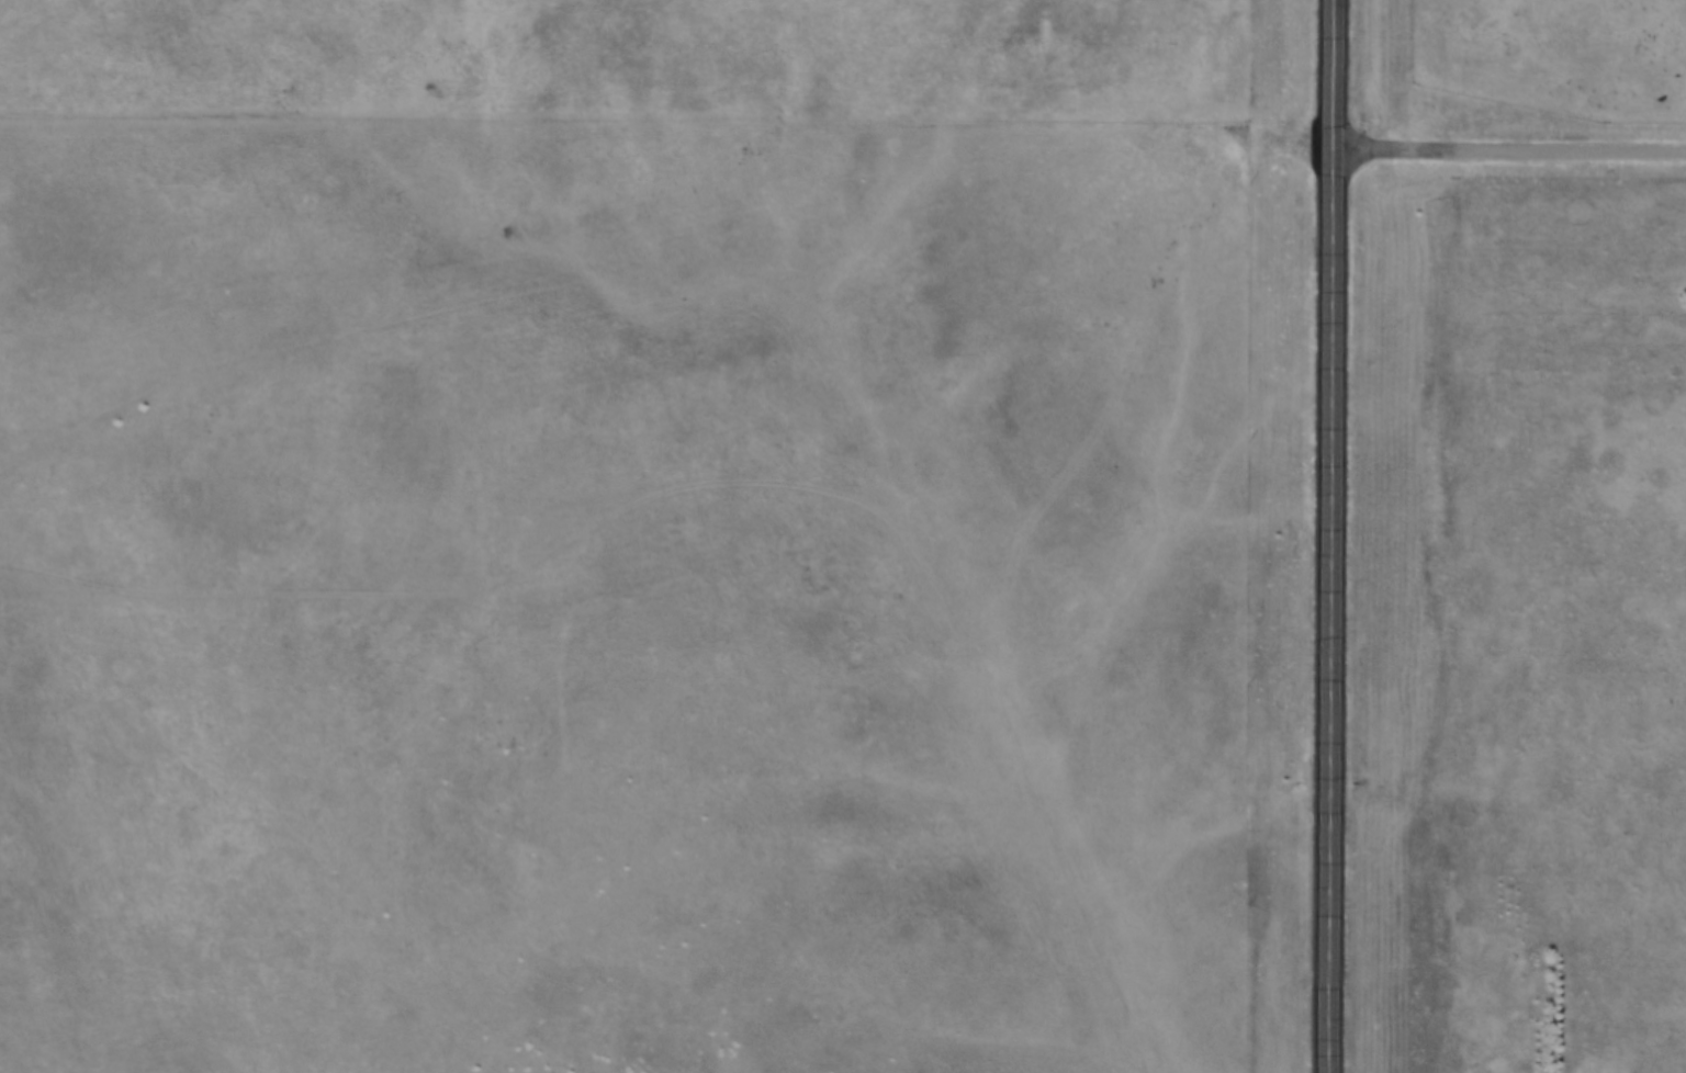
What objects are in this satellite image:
road: (1511, 144)
road: (1334, 536)

